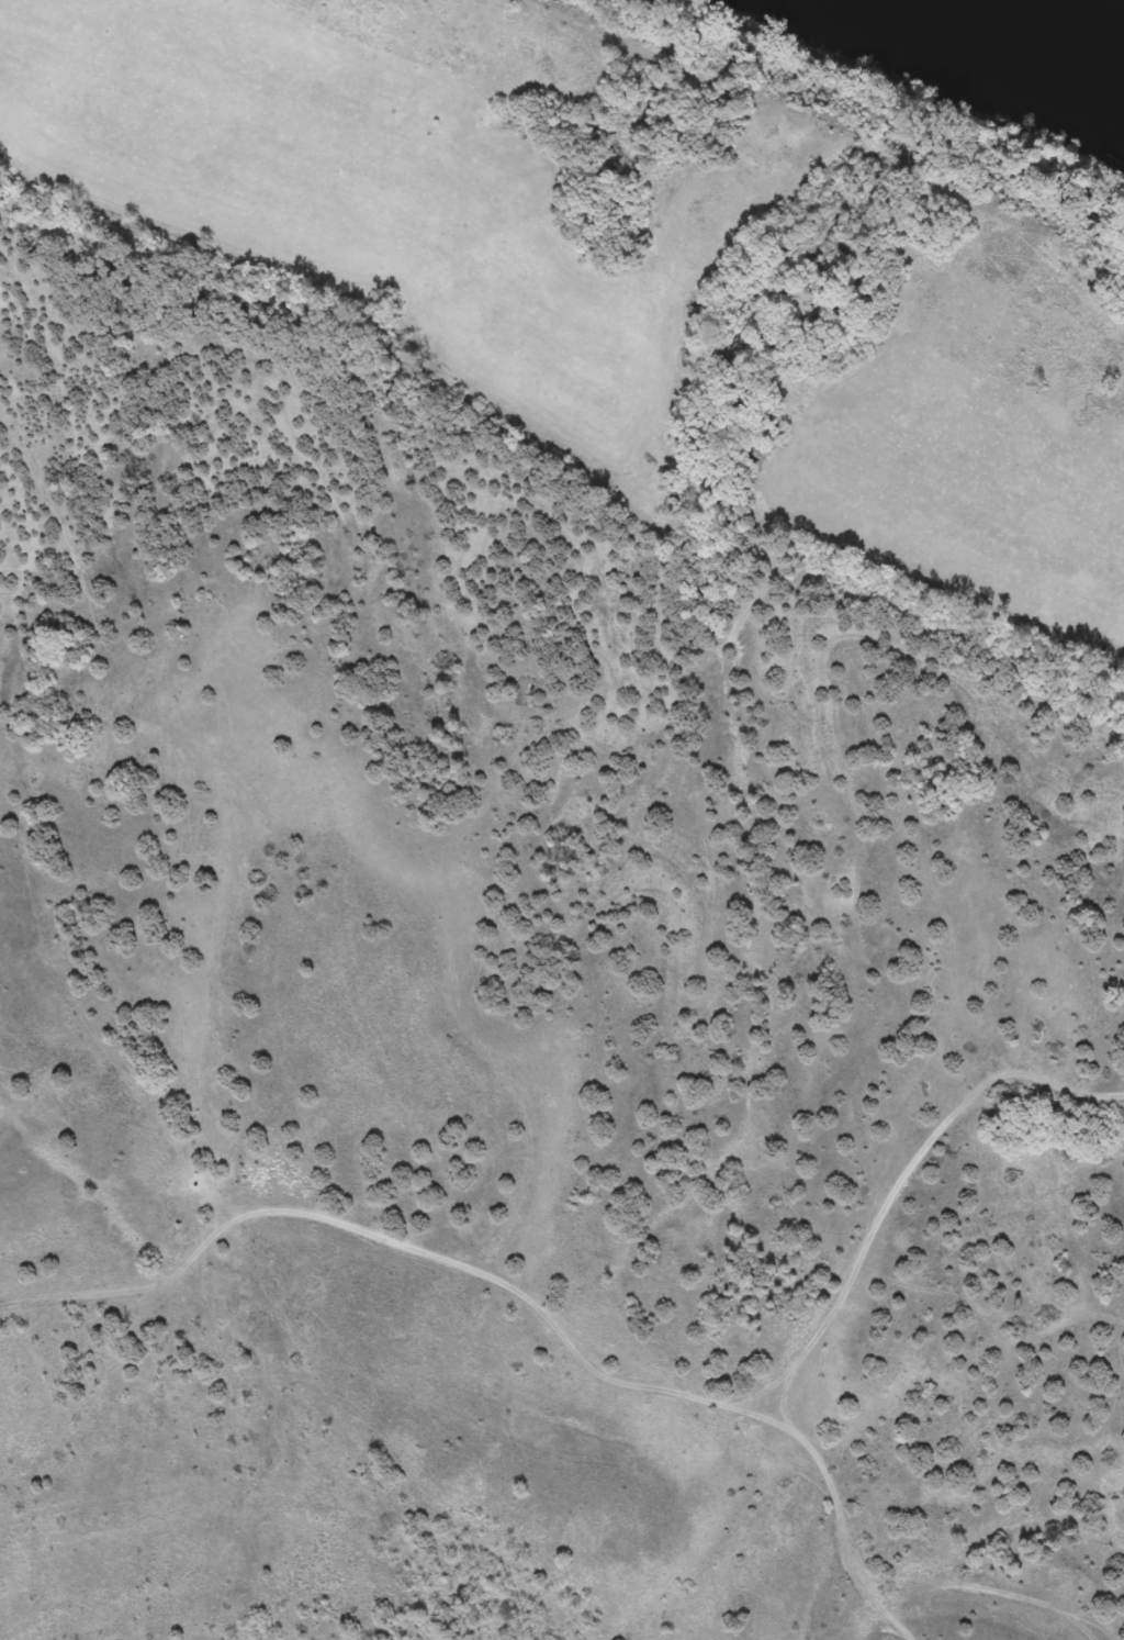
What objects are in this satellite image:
river: (1065, 23)
road: (898, 1179)
road: (518, 1294)

